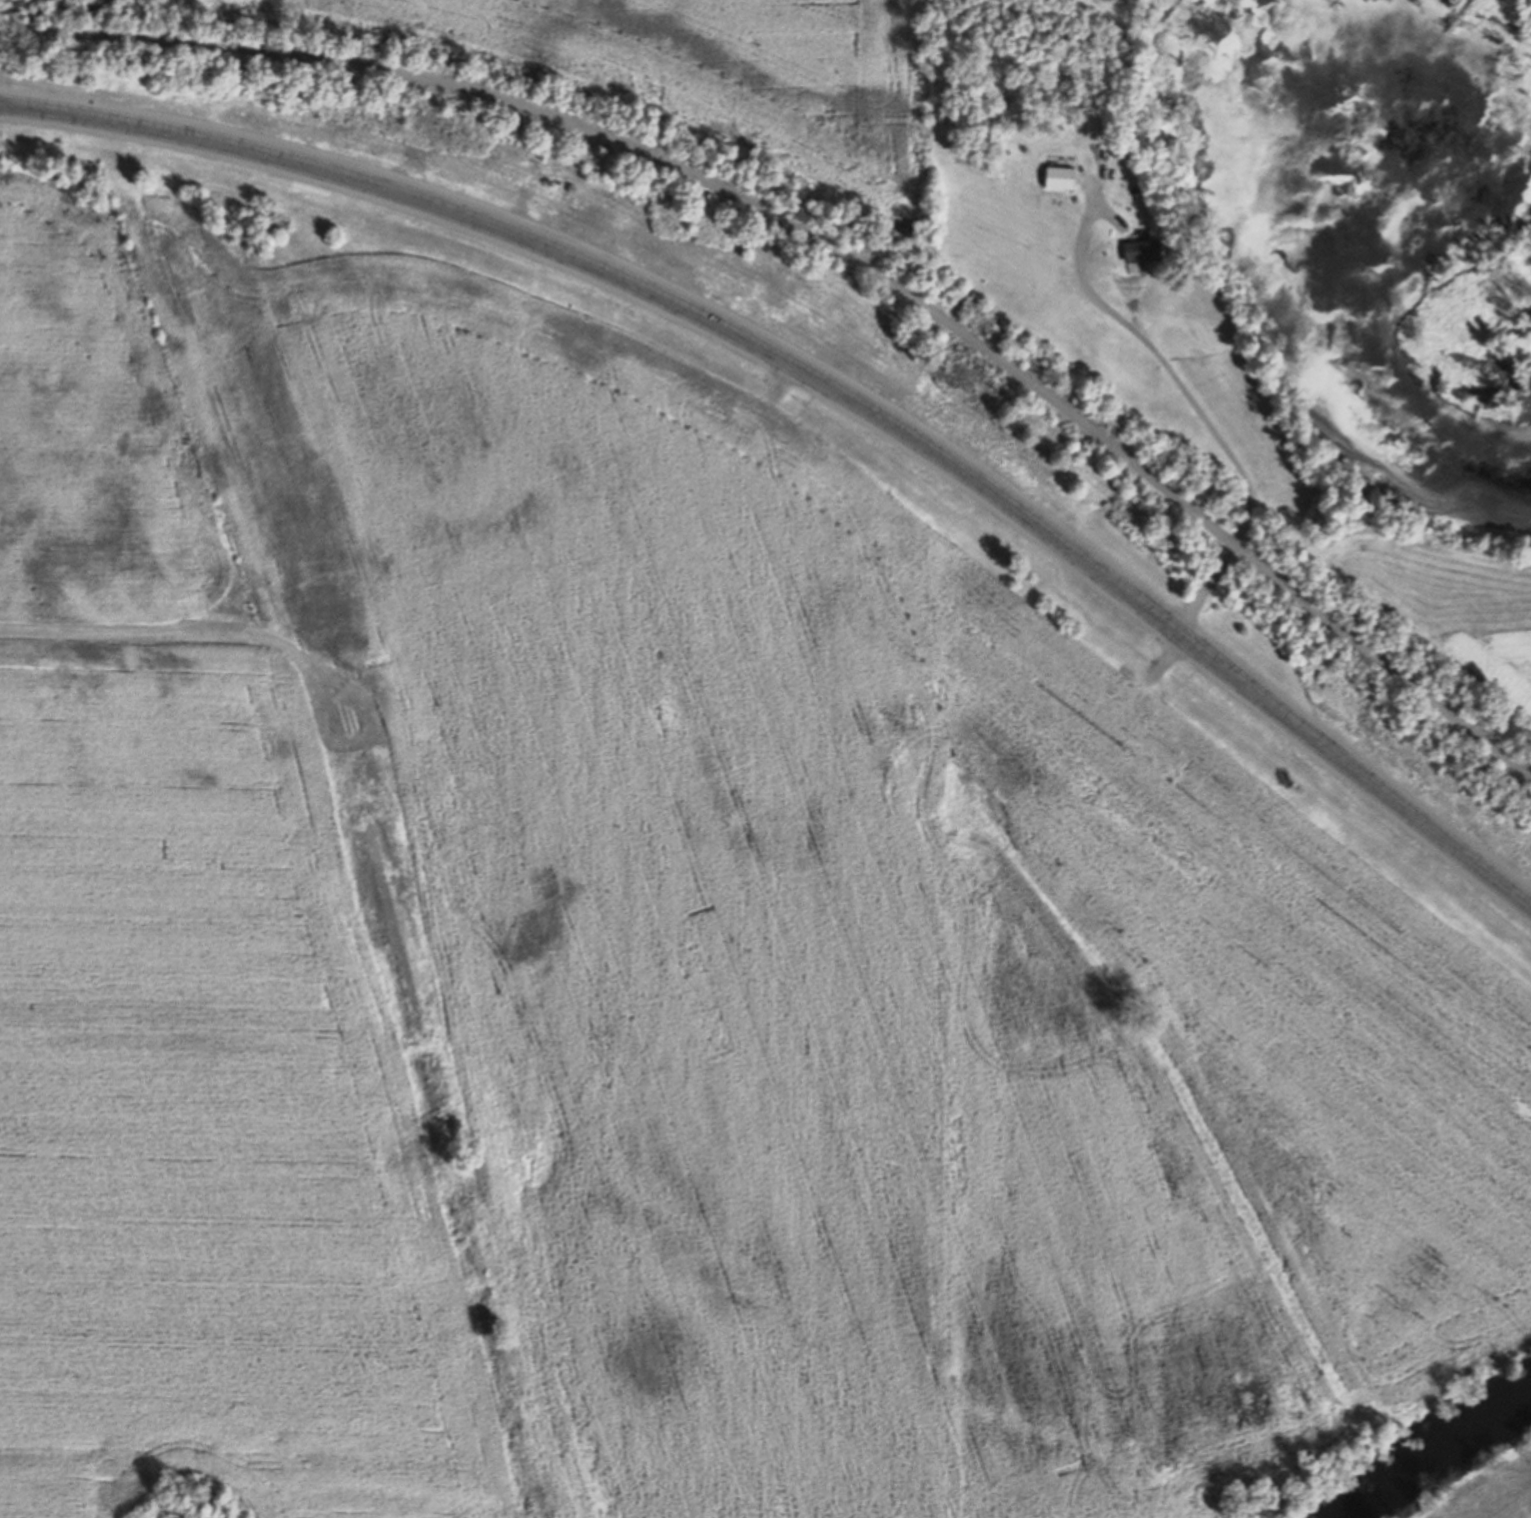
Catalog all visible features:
building: (1062, 179)
road: (1086, 243)
road: (834, 249)
building: (1149, 255)
road: (825, 383)
road: (1237, 459)
river: (1454, 1471)

